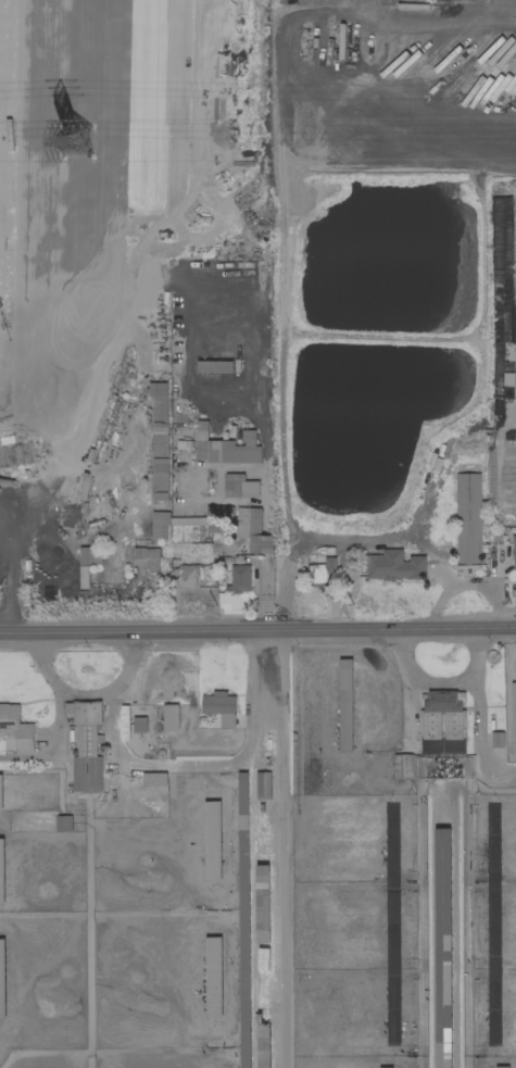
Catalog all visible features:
road: (514, 8)
road: (430, 16)
power tower: (77, 140)
building: (159, 441)
building: (225, 448)
building: (239, 486)
building: (217, 512)
building: (467, 524)
building: (160, 525)
building: (252, 529)
building: (514, 552)
building: (89, 555)
building: (144, 555)
building: (393, 566)
building: (323, 573)
building: (188, 576)
building: (239, 578)
road: (257, 632)
road: (444, 681)
road: (93, 695)
building: (442, 701)
building: (217, 703)
building: (344, 705)
building: (513, 715)
building: (171, 717)
building: (226, 720)
building: (15, 728)
road: (486, 730)
building: (496, 740)
road: (56, 742)
building: (86, 745)
road: (194, 765)
building: (403, 766)
building: (155, 779)
building: (263, 784)
building: (0, 793)
building: (212, 841)
road: (286, 850)
building: (1, 872)
building: (262, 904)
building: (243, 919)
building: (443, 947)
building: (213, 977)
building: (2, 980)
building: (386, 1067)
building: (502, 1067)

